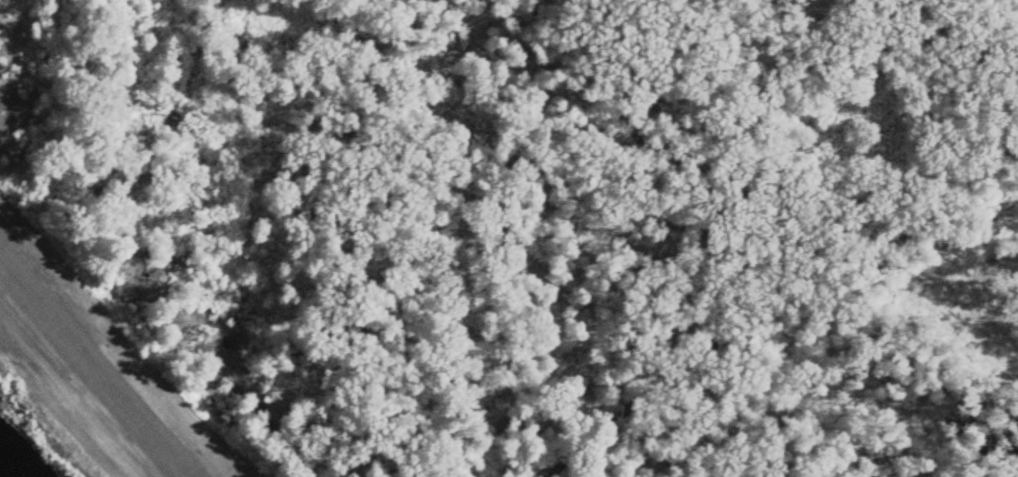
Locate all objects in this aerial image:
road: (3, 316)
airport runway: (104, 355)
airport runway: (81, 382)
road: (71, 393)

